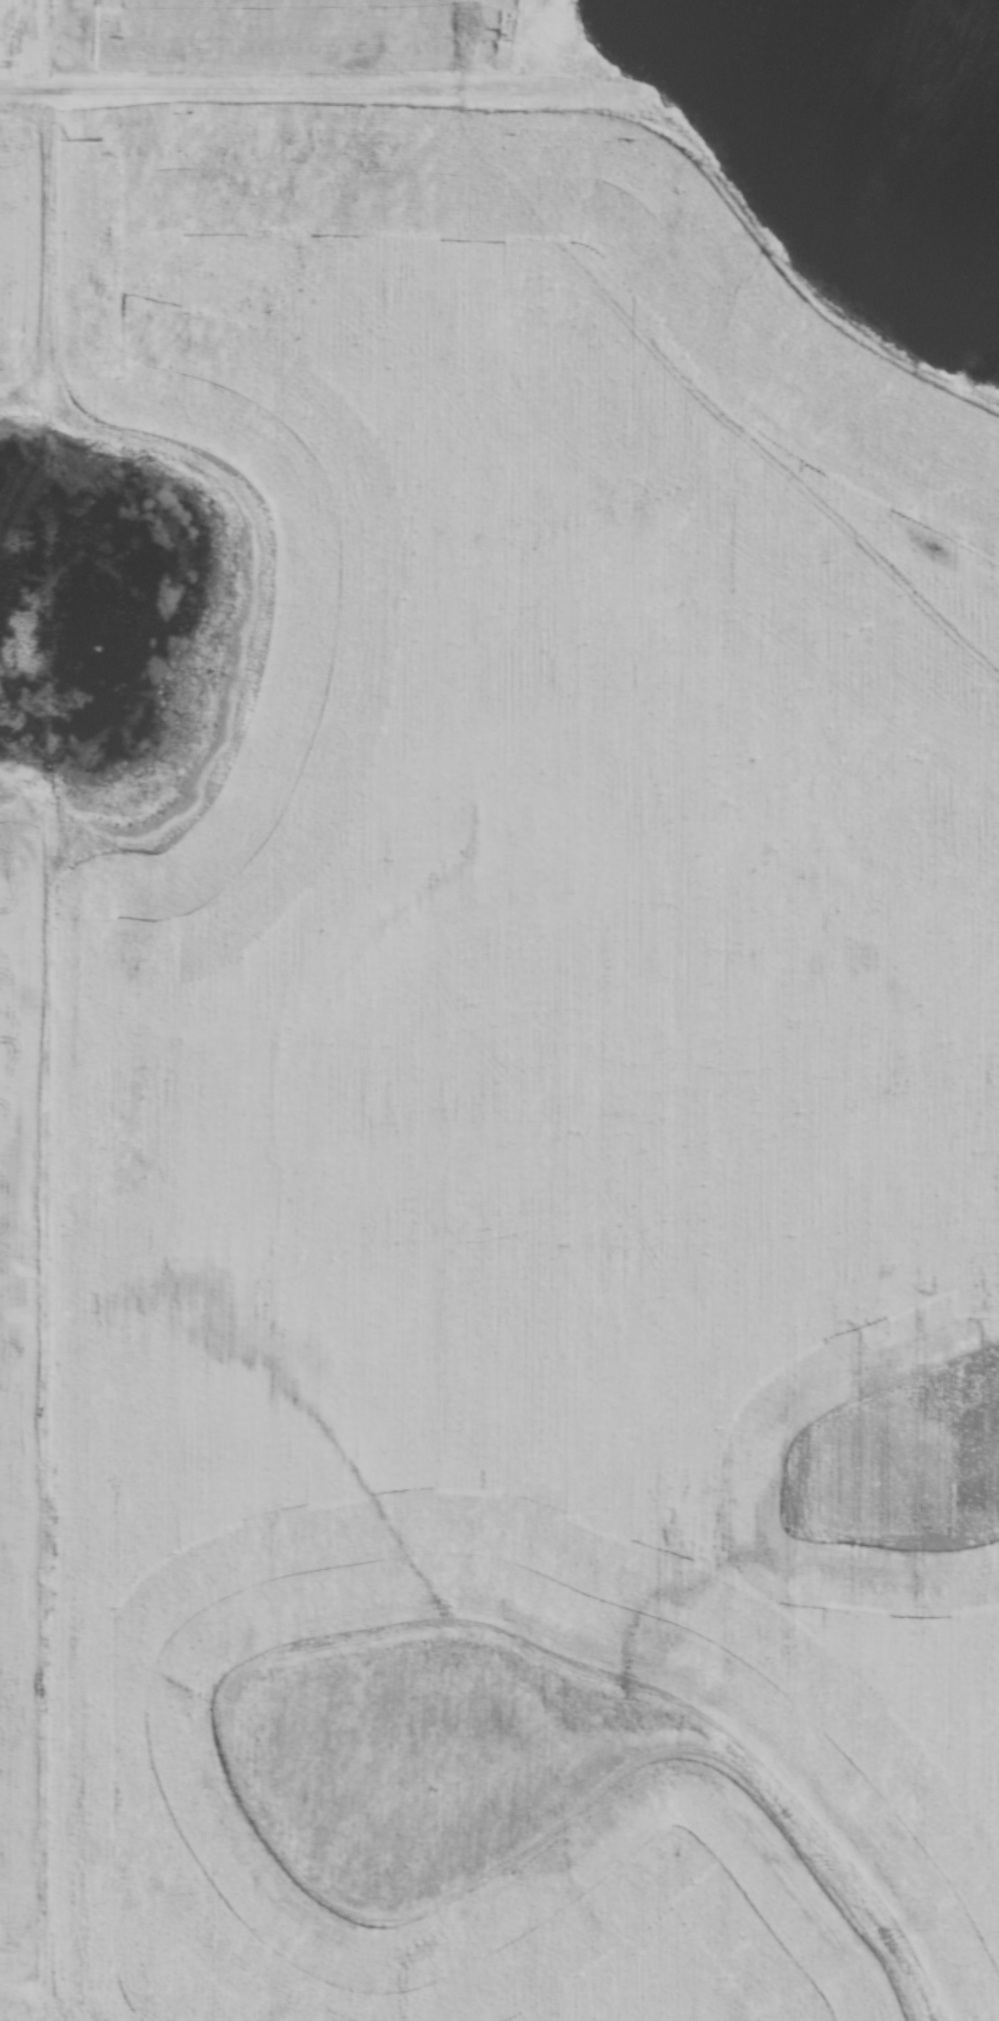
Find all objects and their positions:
road: (499, 95)

